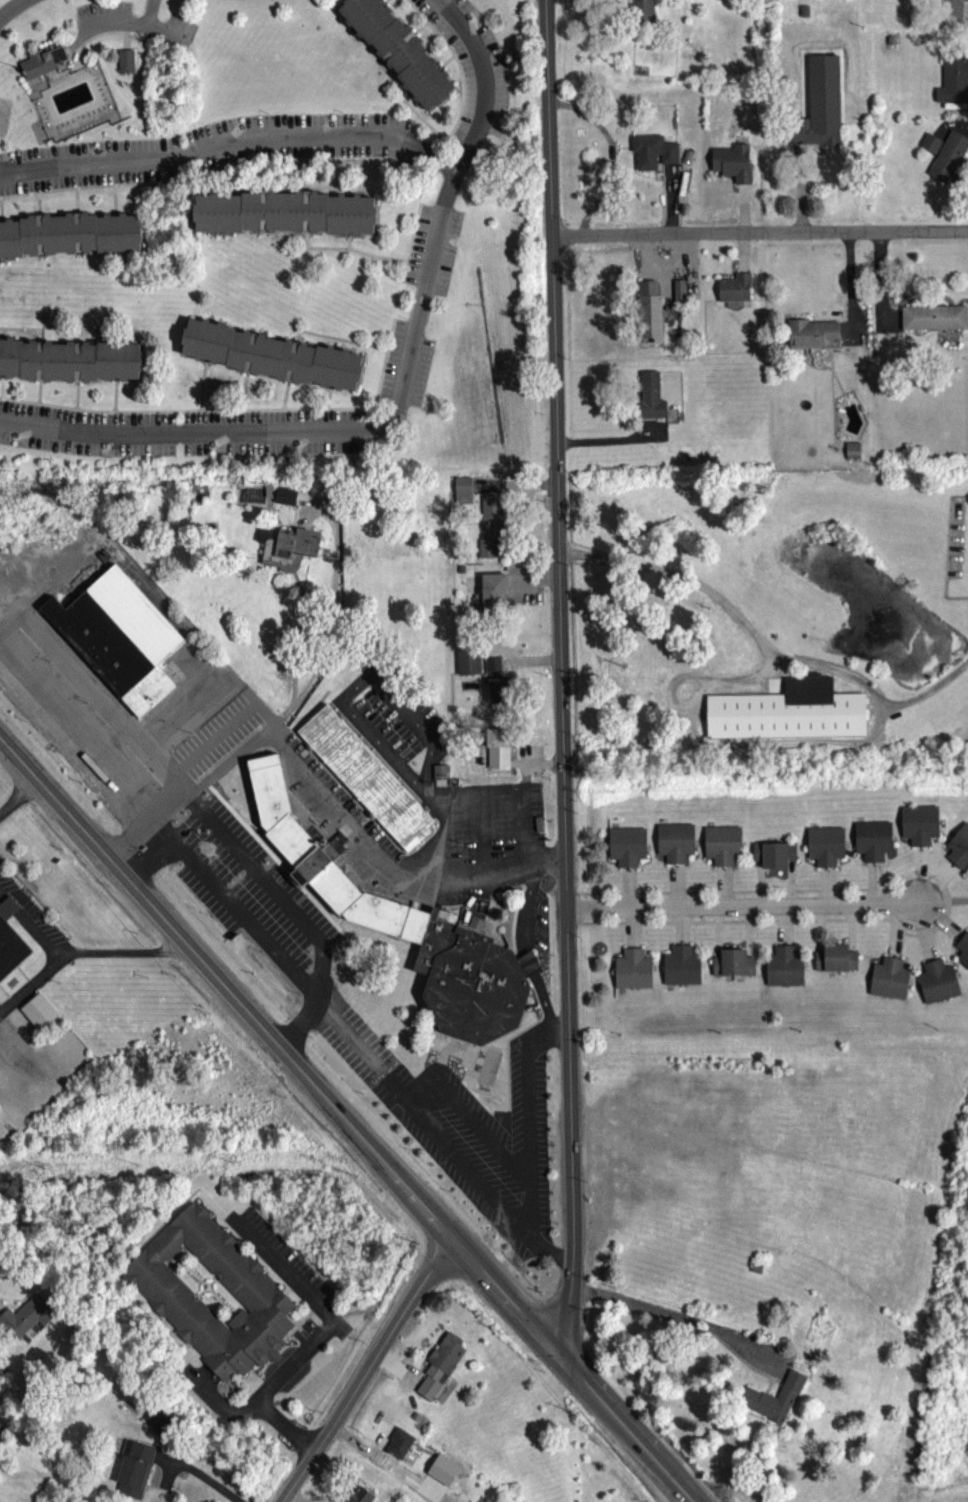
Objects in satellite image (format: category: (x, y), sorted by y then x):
road: (10, 8)
building: (950, 11)
building: (640, 13)
road: (103, 22)
road: (153, 27)
park: (179, 32)
building: (399, 51)
building: (44, 61)
building: (125, 65)
building: (952, 85)
building: (819, 109)
road: (230, 141)
building: (929, 147)
building: (652, 156)
building: (948, 162)
building: (731, 166)
building: (286, 214)
building: (70, 236)
road: (759, 237)
building: (733, 294)
building: (647, 315)
building: (933, 321)
building: (811, 340)
building: (273, 354)
building: (70, 360)
road: (399, 392)
building: (649, 401)
building: (851, 454)
building: (461, 494)
building: (268, 495)
building: (284, 499)
building: (490, 529)
building: (287, 552)
building: (493, 594)
road: (10, 598)
road: (334, 615)
road: (298, 637)
building: (118, 642)
road: (560, 646)
building: (467, 664)
building: (495, 684)
road: (94, 691)
road: (926, 698)
road: (697, 700)
road: (678, 711)
building: (786, 716)
road: (222, 729)
building: (496, 752)
building: (438, 777)
building: (363, 783)
road: (189, 787)
road: (19, 799)
building: (926, 828)
building: (909, 829)
road: (155, 840)
building: (863, 844)
building: (880, 844)
building: (683, 845)
building: (665, 846)
building: (957, 846)
building: (721, 848)
building: (334, 849)
building: (816, 849)
building: (833, 849)
building: (625, 850)
building: (761, 858)
building: (781, 858)
road: (387, 861)
building: (961, 862)
road: (138, 864)
road: (917, 879)
road: (281, 886)
road: (934, 886)
road: (759, 887)
road: (790, 887)
road: (873, 887)
road: (675, 889)
road: (825, 889)
road: (722, 890)
road: (626, 891)
road: (524, 902)
road: (942, 906)
road: (947, 906)
road: (741, 910)
road: (573, 913)
road: (270, 920)
road: (938, 924)
road: (172, 930)
road: (680, 930)
road: (782, 930)
road: (631, 931)
road: (850, 932)
building: (404, 933)
road: (818, 933)
road: (898, 934)
road: (747, 935)
road: (716, 936)
road: (923, 936)
building: (964, 941)
building: (9, 945)
building: (962, 956)
road: (87, 959)
road: (528, 960)
building: (824, 962)
building: (843, 962)
building: (721, 967)
building: (740, 967)
building: (791, 970)
building: (671, 971)
building: (689, 971)
building: (774, 971)
building: (631, 973)
building: (887, 982)
building: (944, 983)
road: (32, 987)
building: (928, 988)
road: (543, 1000)
building: (38, 1018)
parking lot: (1, 1019)
road: (362, 1055)
road: (526, 1117)
road: (370, 1151)
road: (468, 1169)
road: (421, 1210)
road: (550, 1252)
parking lot: (289, 1283)
building: (167, 1300)
road: (503, 1300)
building: (819, 1313)
road: (318, 1314)
building: (26, 1320)
road: (682, 1323)
road: (564, 1327)
traffic signals: (560, 1362)
building: (439, 1369)
road: (366, 1371)
road: (202, 1381)
road: (566, 1398)
building: (774, 1402)
road: (213, 1406)
road: (622, 1432)
road: (282, 1433)
building: (398, 1447)
building: (132, 1473)
building: (360, 1497)

